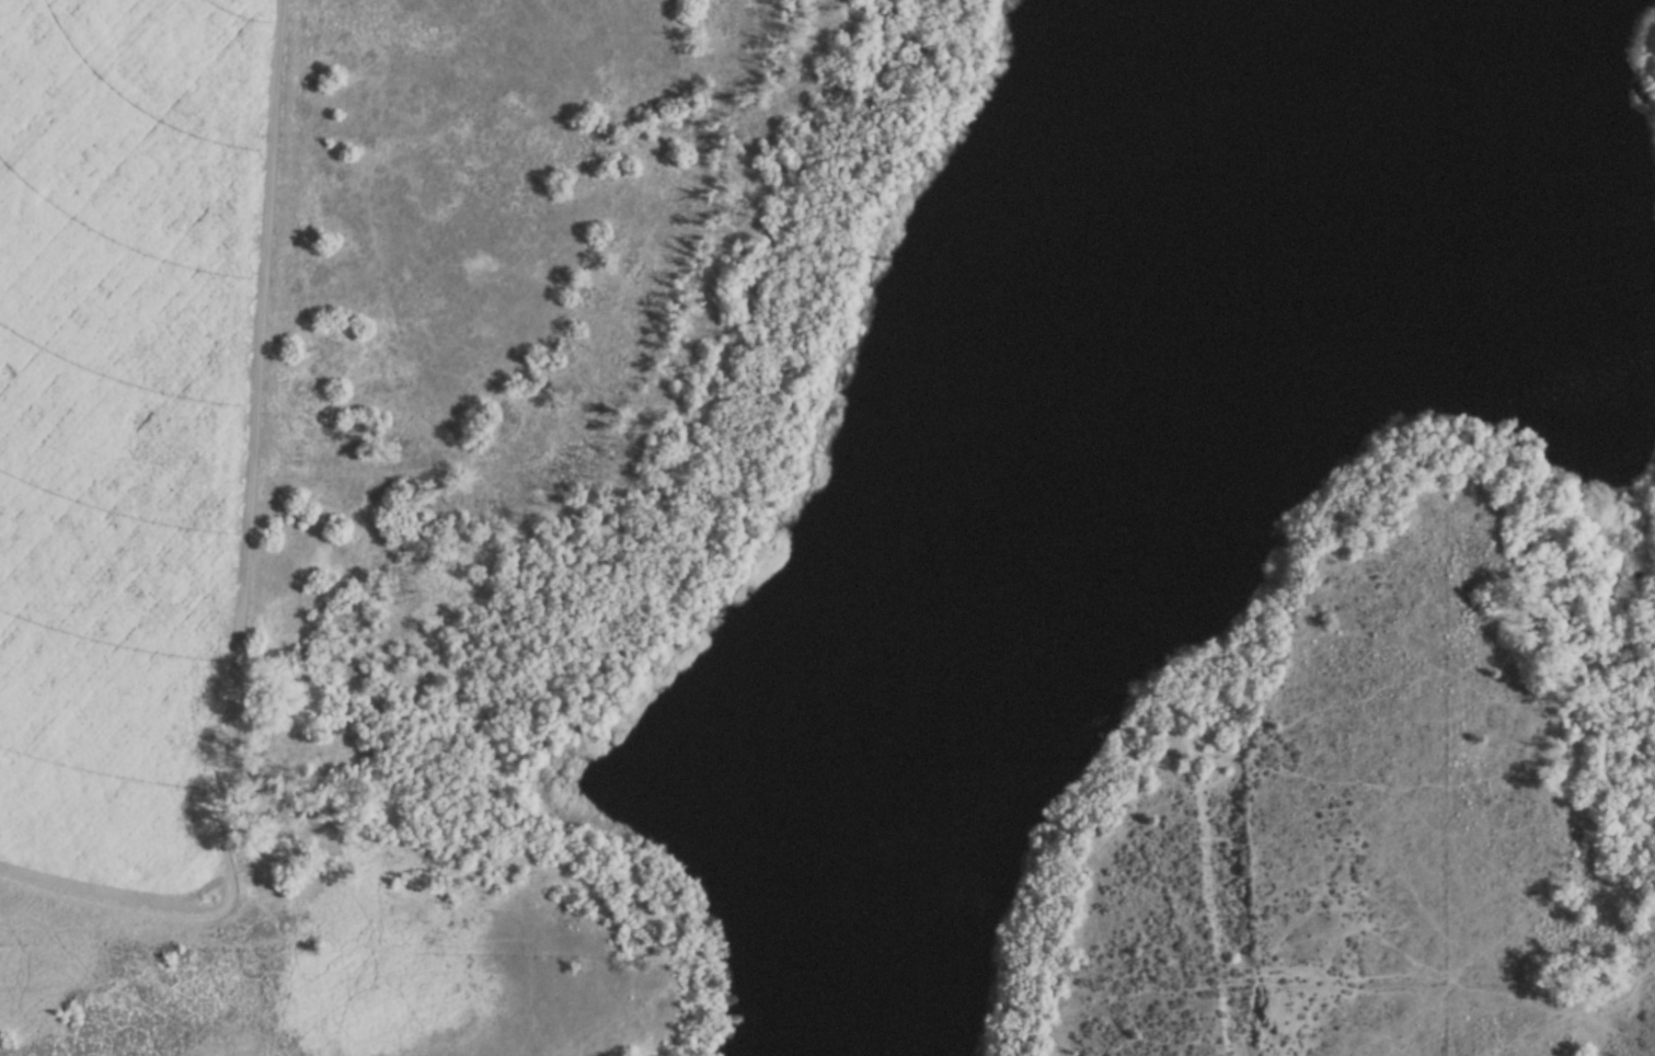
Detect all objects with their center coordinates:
crop: (125, 422)

